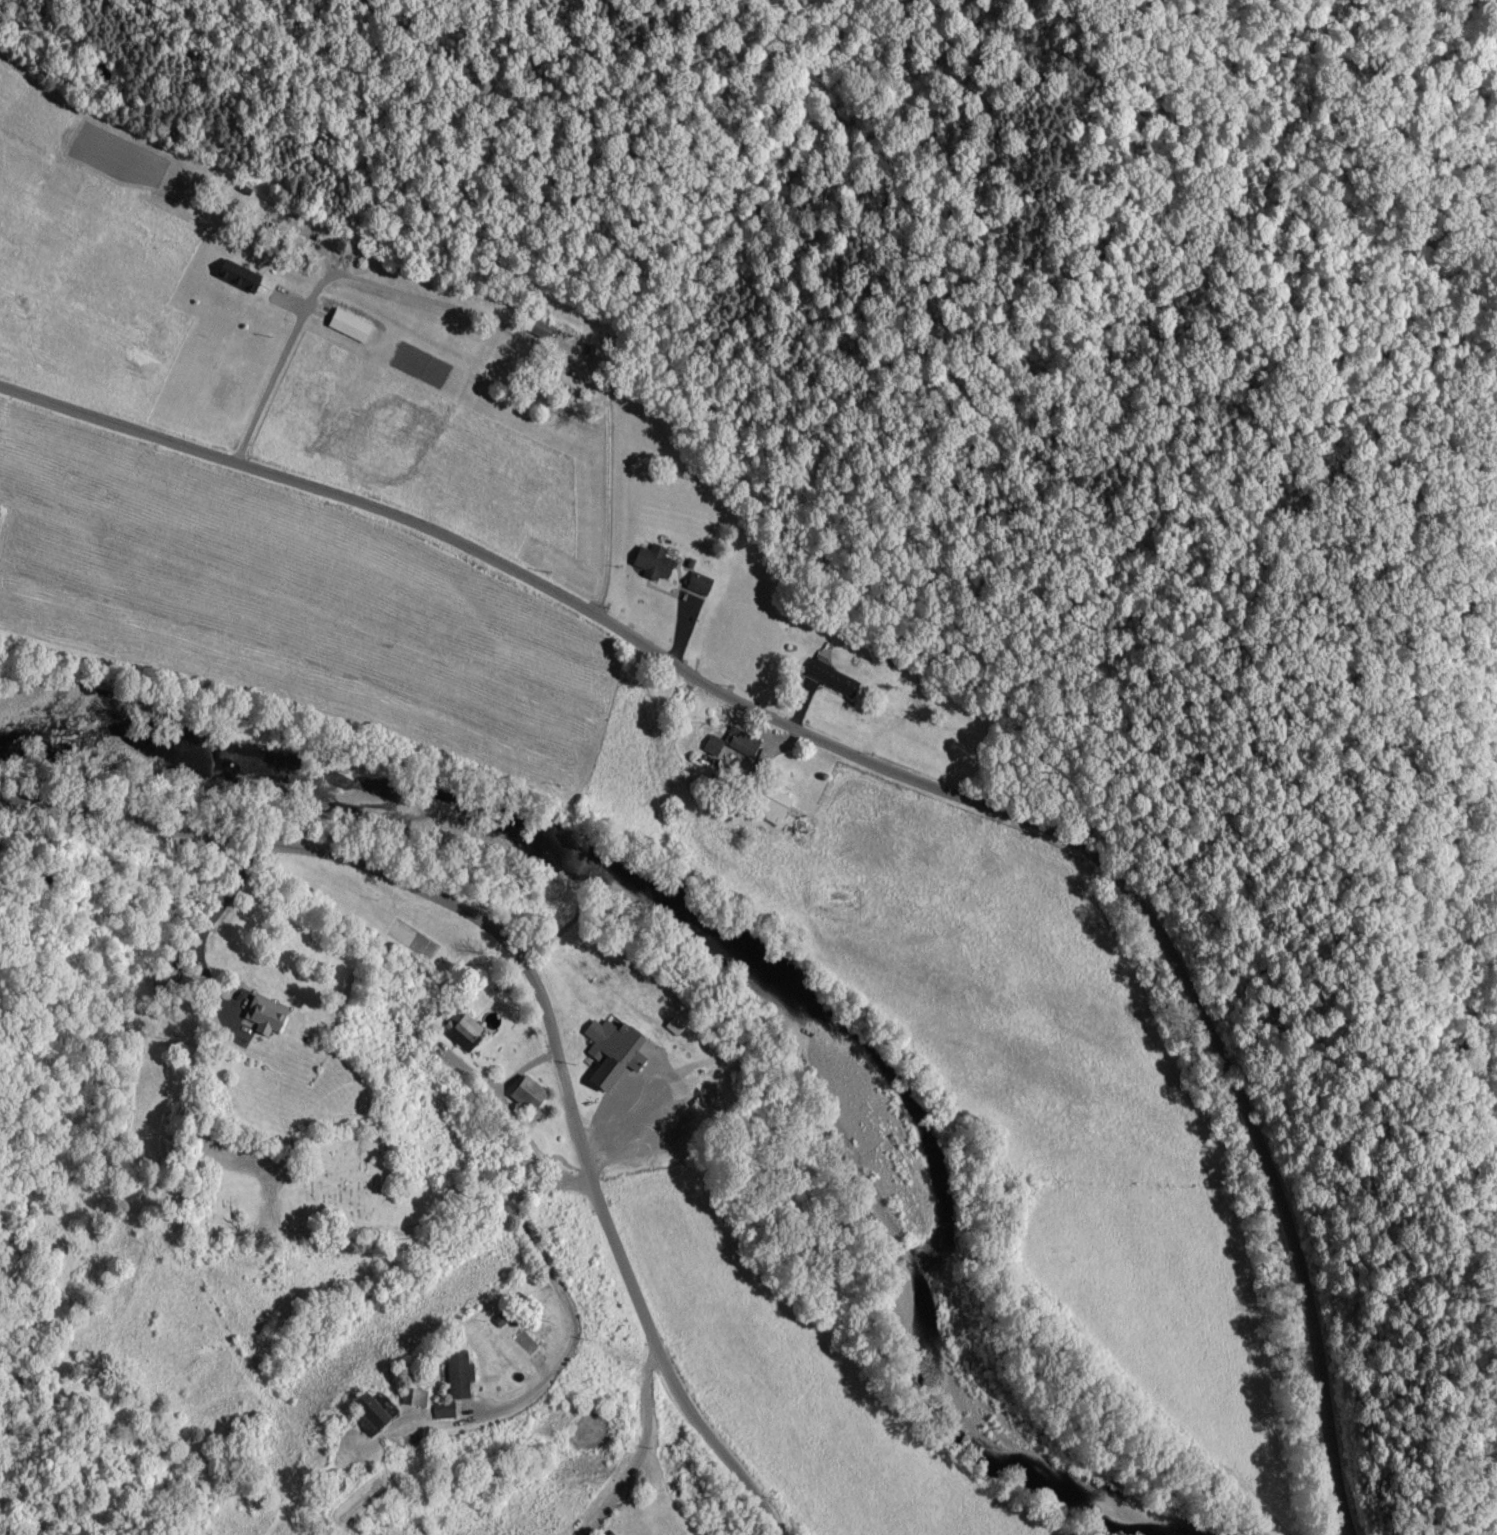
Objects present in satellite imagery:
building: (232, 278)
building: (535, 329)
road: (494, 350)
building: (646, 563)
building: (692, 585)
building: (825, 680)
building: (738, 746)
building: (709, 748)
road: (876, 783)
road: (203, 927)
river: (717, 972)
road: (540, 994)
building: (257, 1017)
building: (461, 1034)
building: (604, 1054)
building: (520, 1094)
road: (615, 1119)
road: (565, 1294)
building: (455, 1378)
building: (367, 1410)
building: (439, 1411)
road: (640, 1447)

